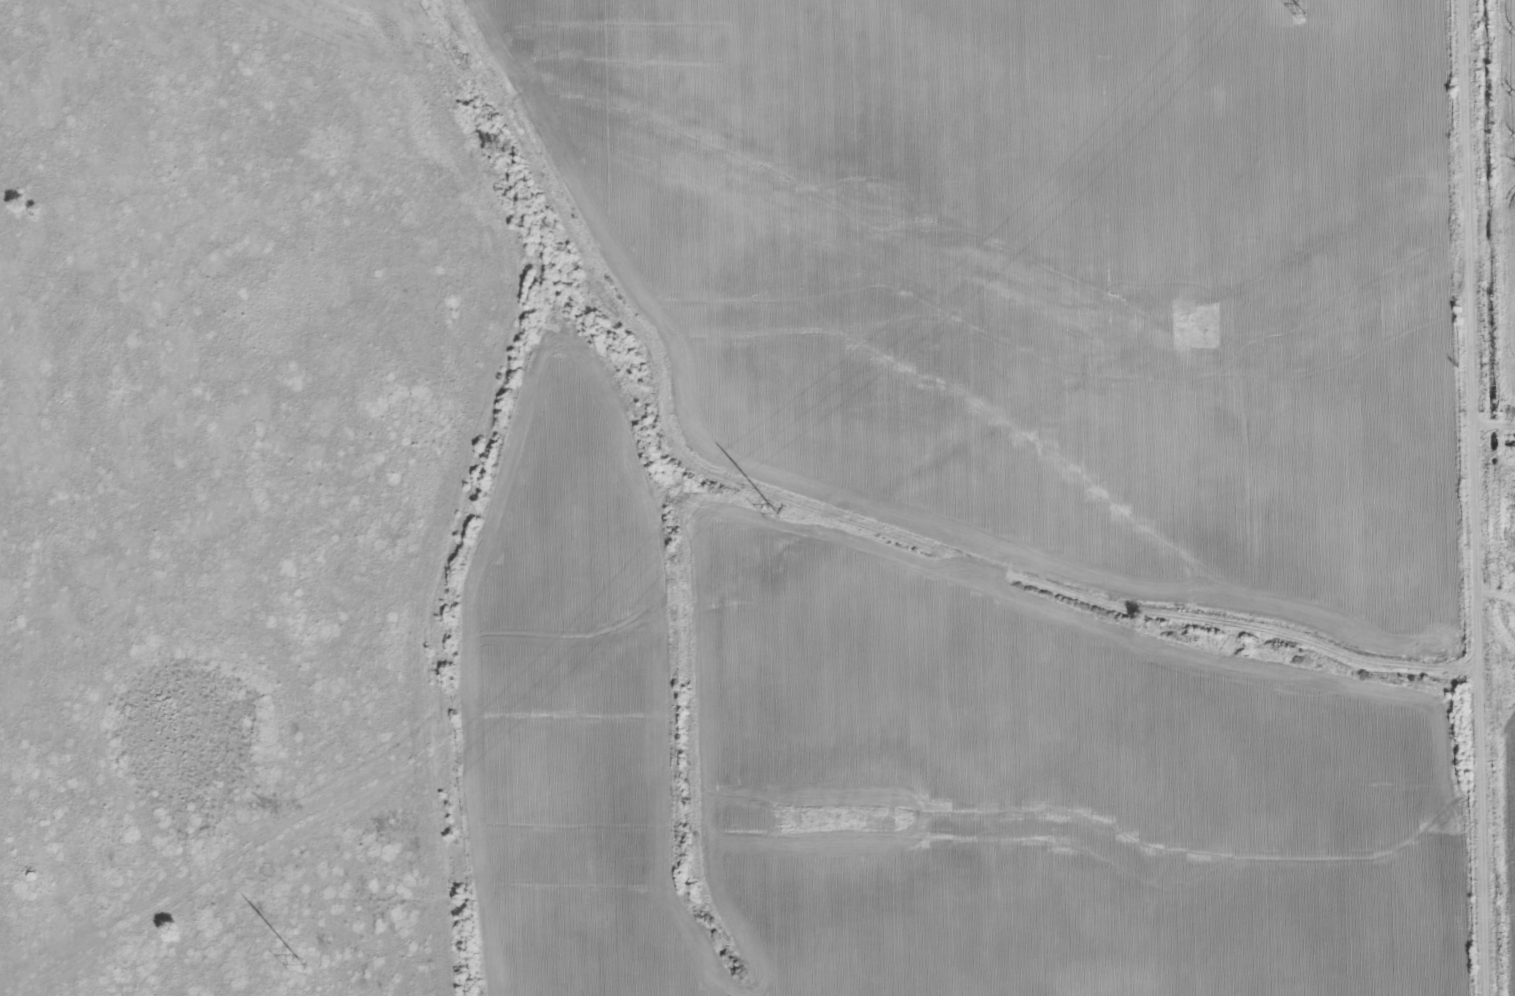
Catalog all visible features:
power tower: (1283, 1)
power tower: (784, 512)
power tower: (298, 959)

